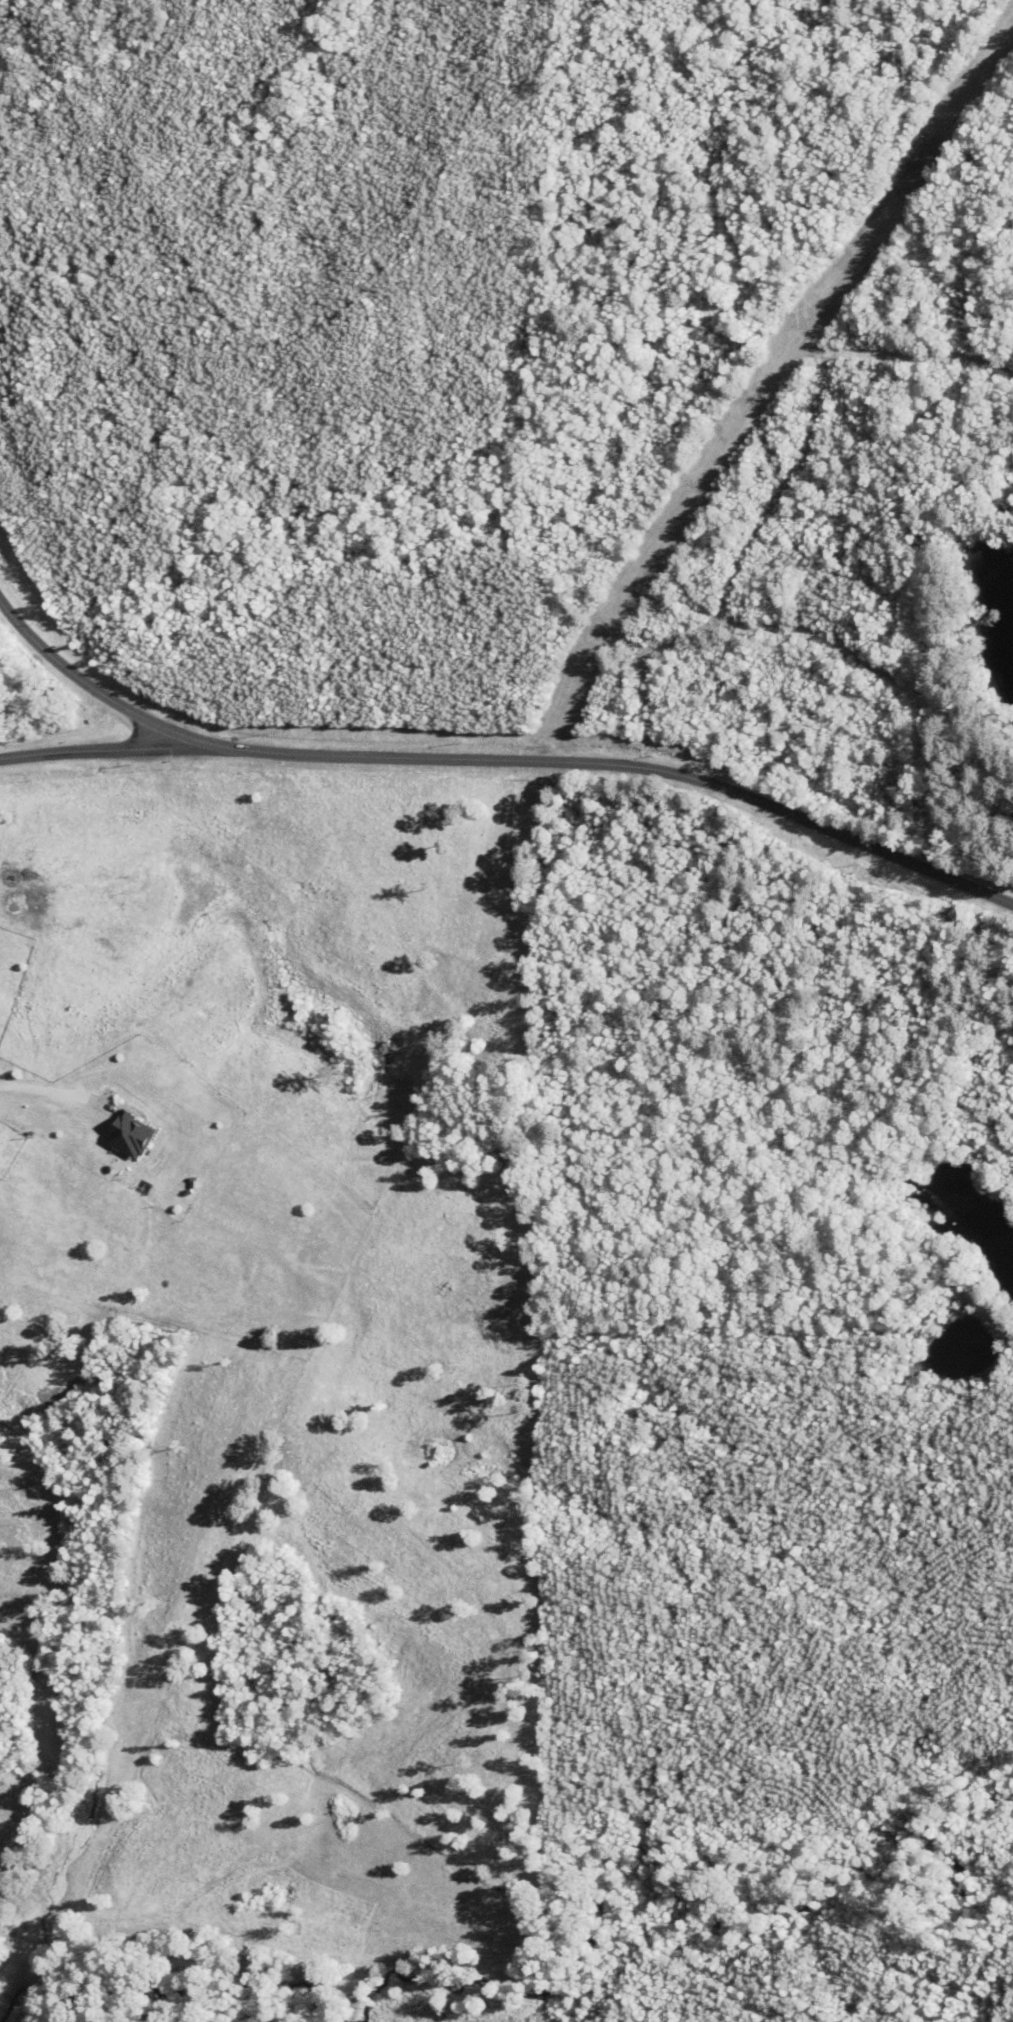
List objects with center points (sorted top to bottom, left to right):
road: (90, 750)
road: (496, 758)

